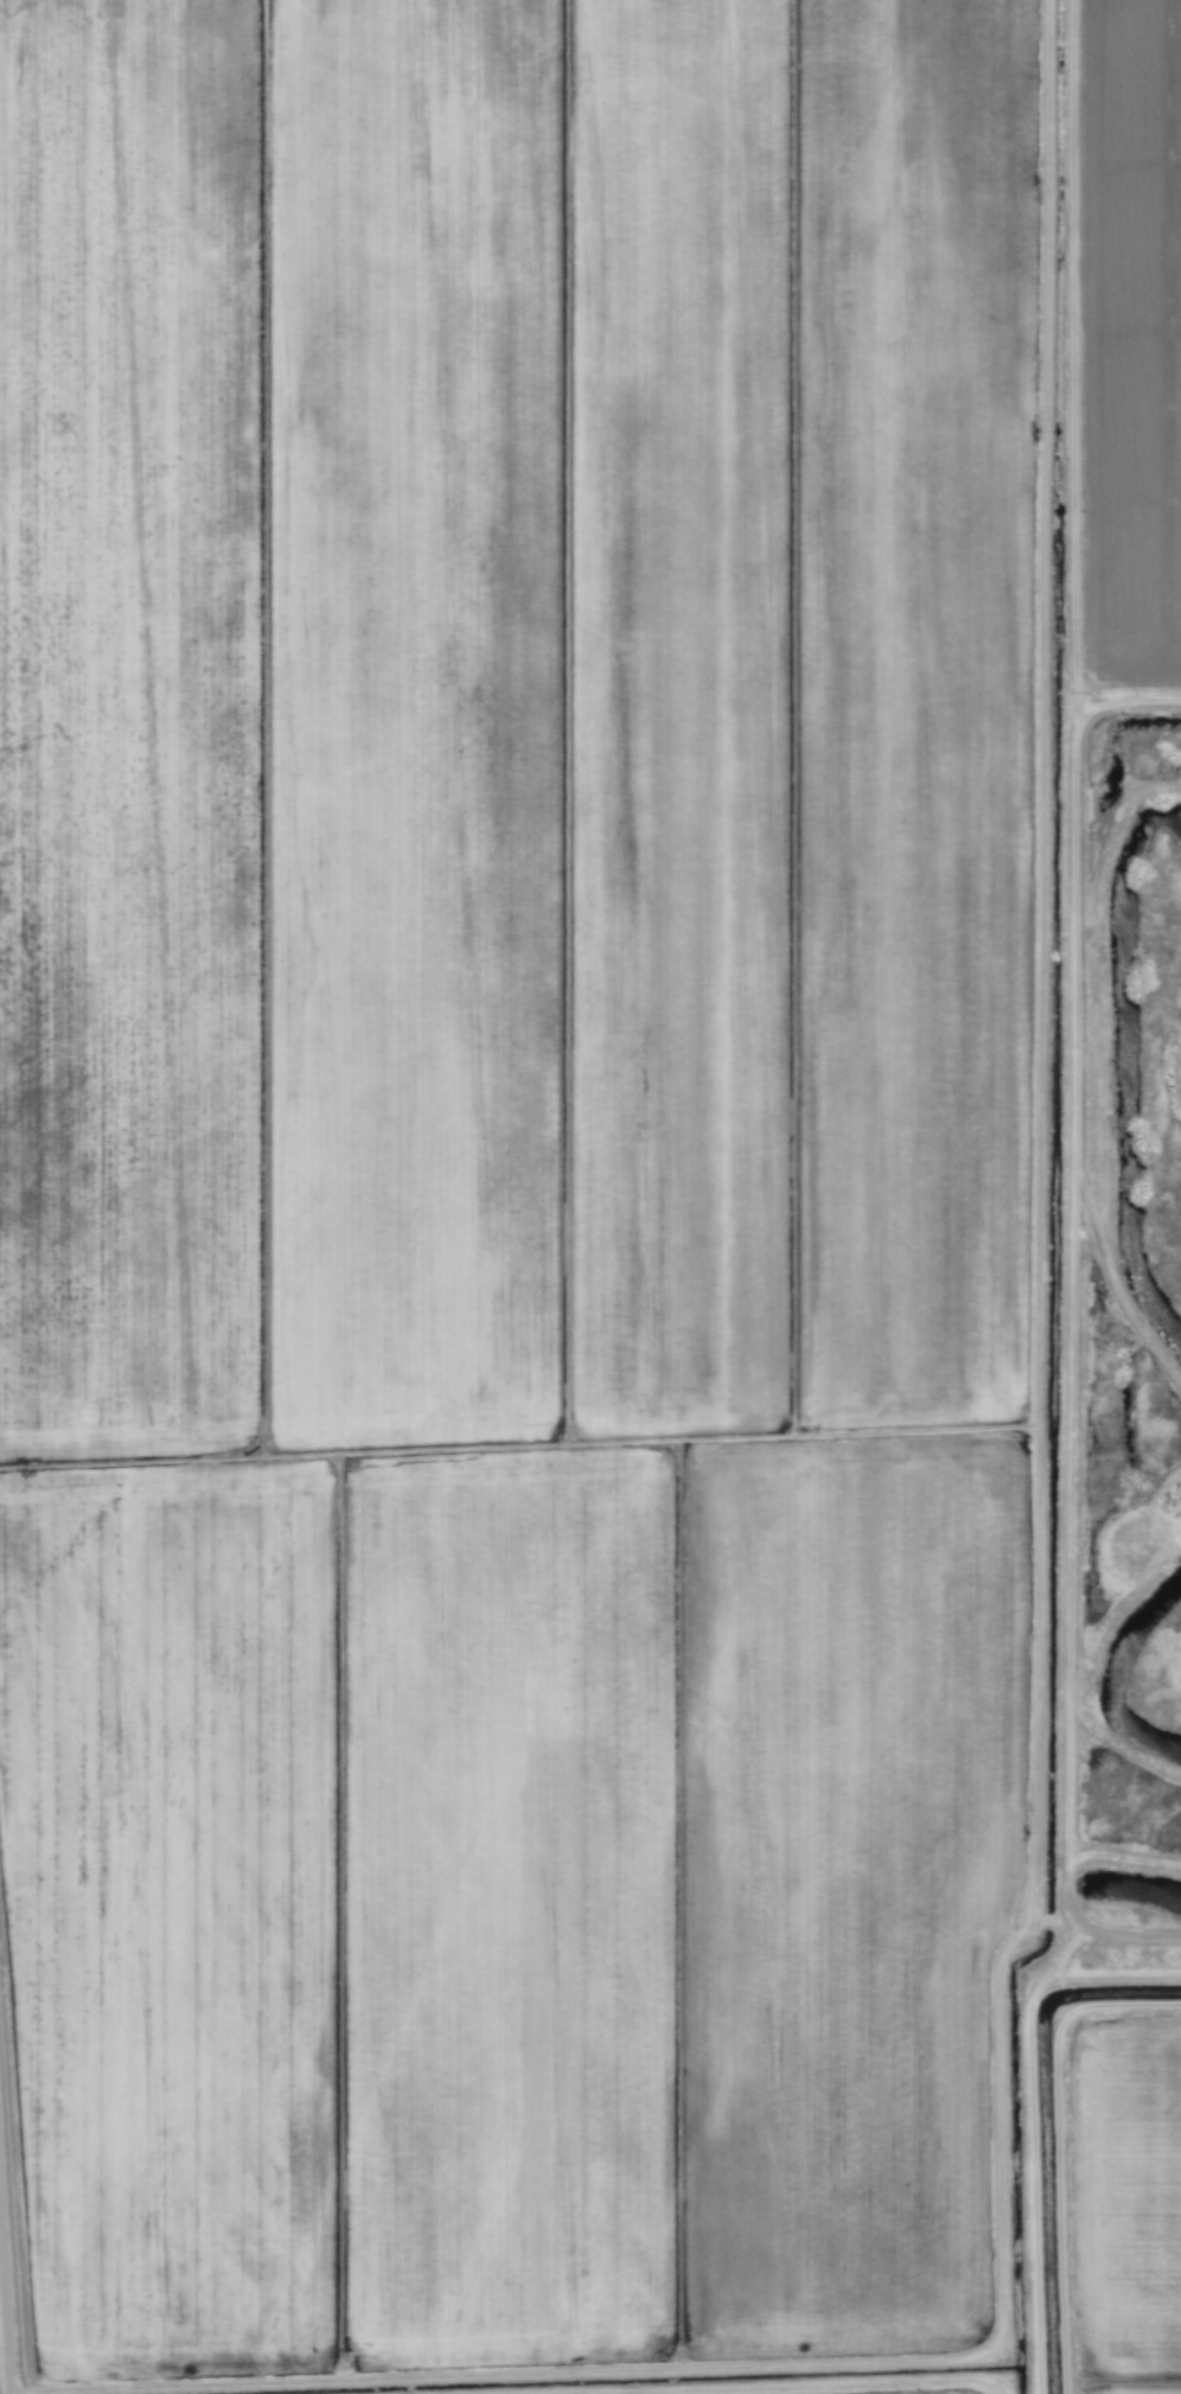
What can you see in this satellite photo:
airport runway: (1, 2364)

